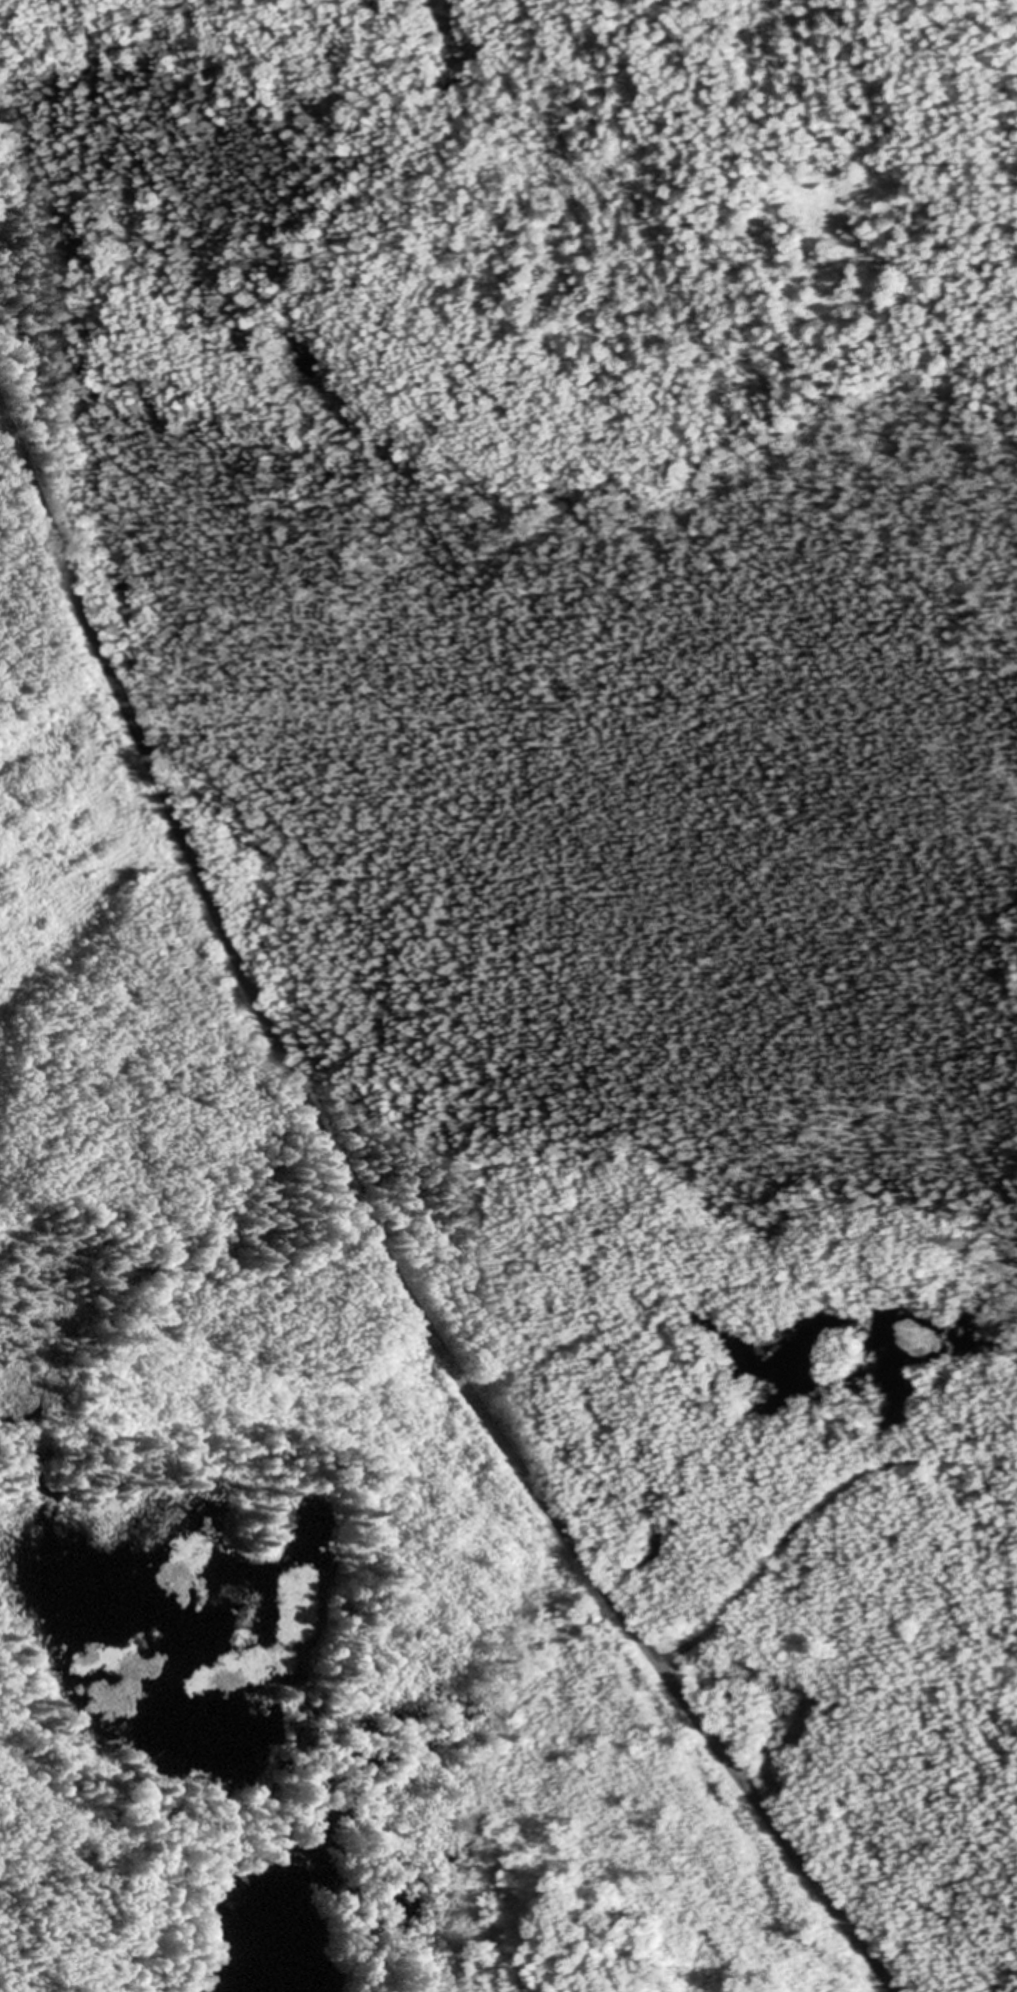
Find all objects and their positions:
road: (376, 1242)
road: (815, 1514)

